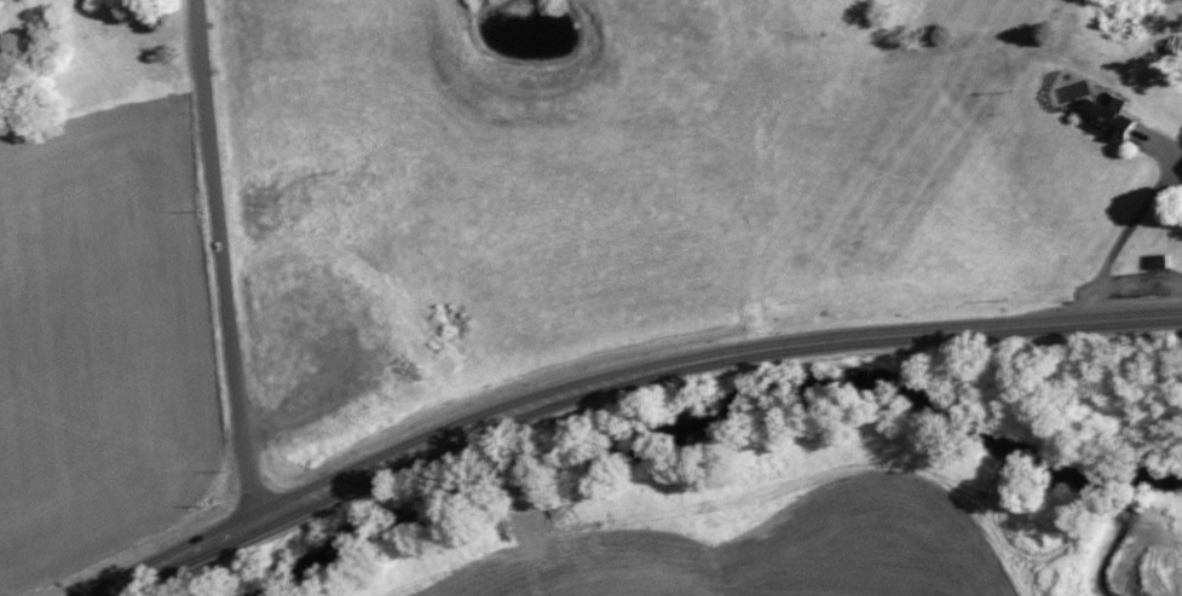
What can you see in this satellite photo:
building: (1102, 117)
road: (1124, 233)
road: (223, 264)
road: (623, 380)

